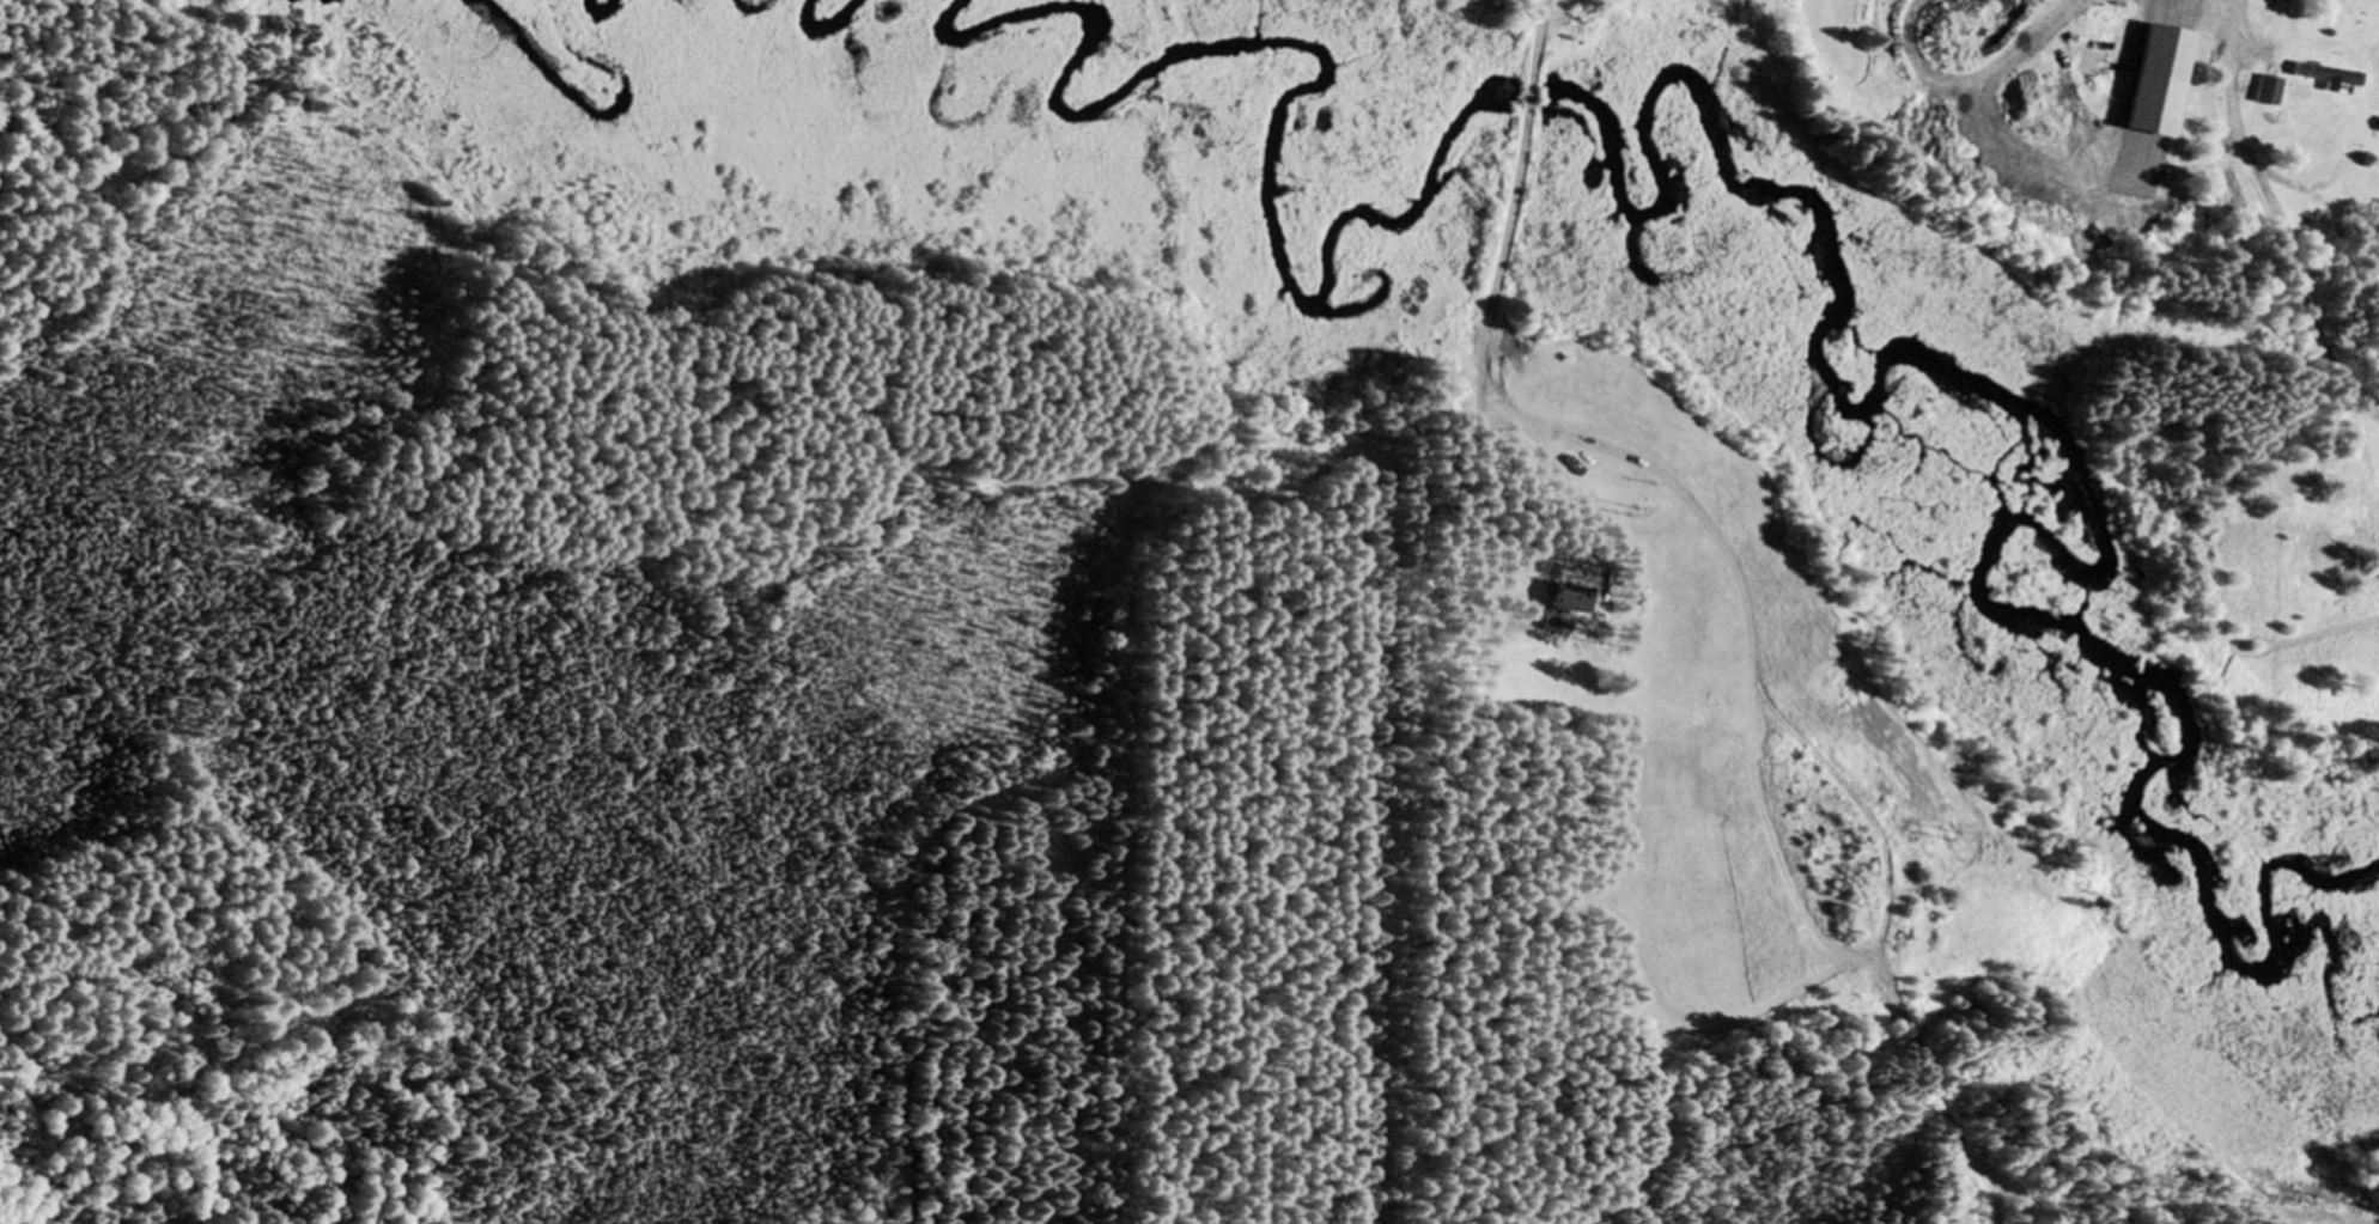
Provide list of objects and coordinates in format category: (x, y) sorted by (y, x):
road: (1538, 49)
building: (2325, 78)
building: (2265, 92)
road: (1529, 104)
power tower: (1304, 188)
road: (1495, 400)
power tower: (1626, 512)
building: (1564, 602)
power tower: (1951, 838)
power tower: (2311, 1202)

